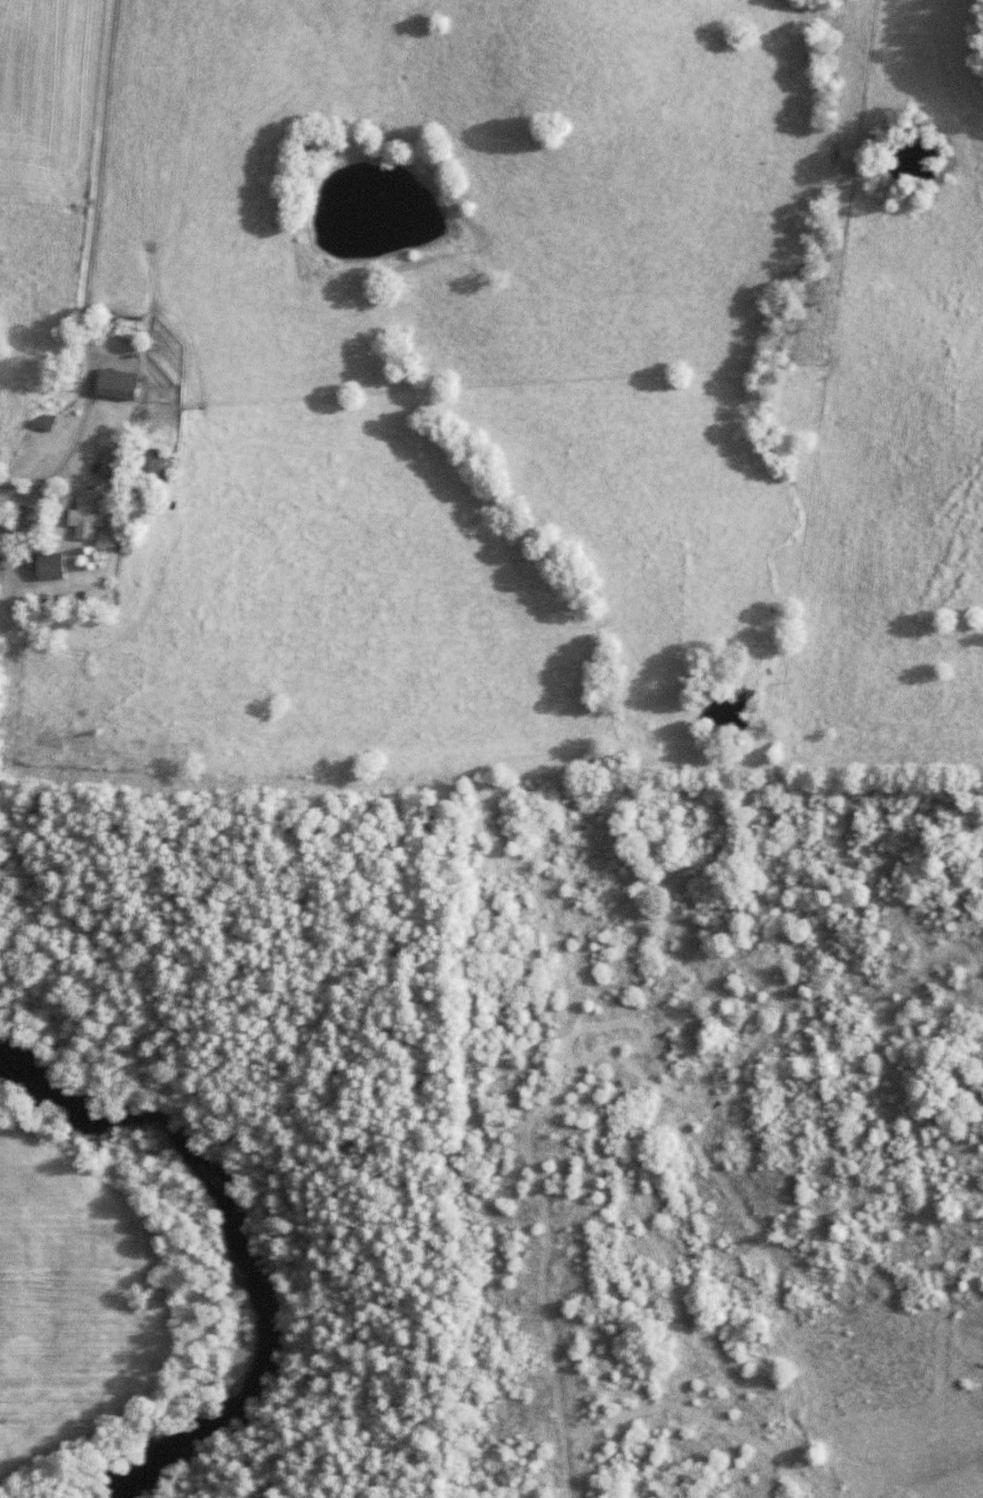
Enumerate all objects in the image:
building: (123, 388)
building: (47, 426)
building: (115, 468)
building: (158, 469)
building: (90, 518)
building: (55, 569)

